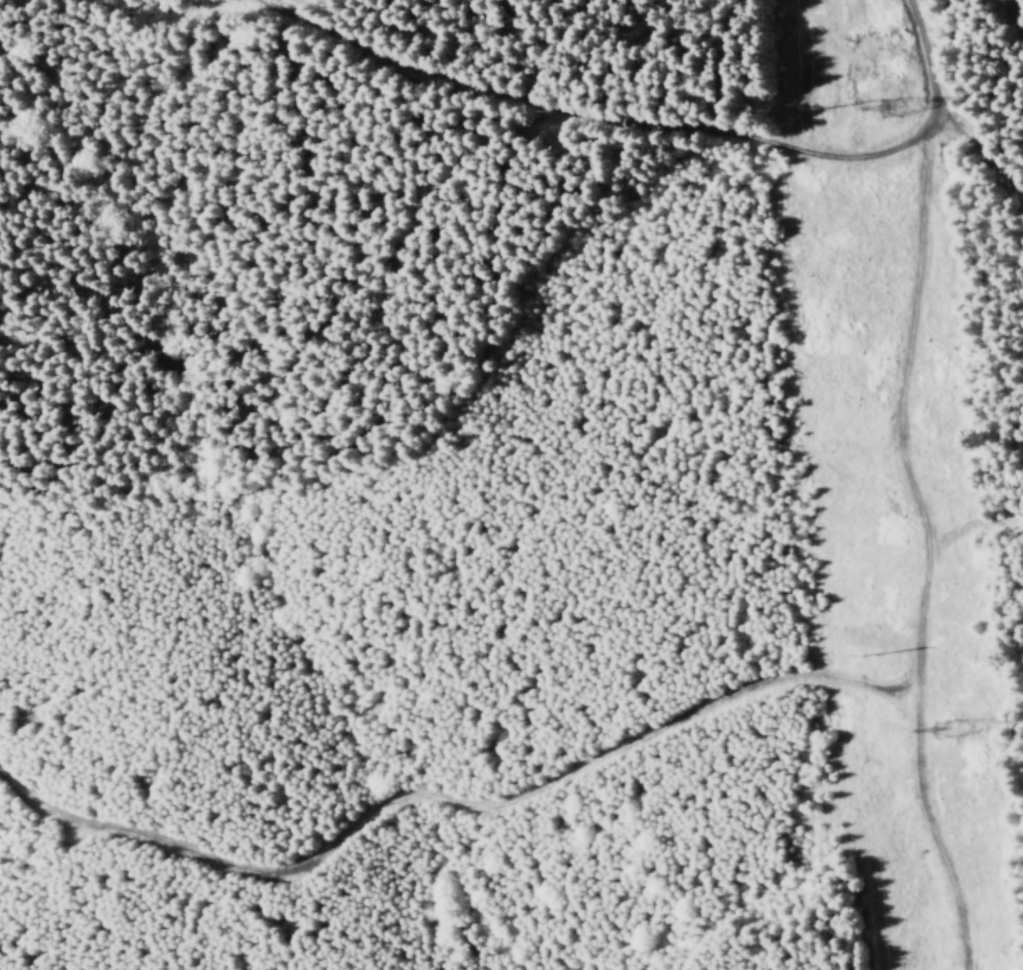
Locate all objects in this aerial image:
power tower: (812, 109)
power tower: (884, 109)
power tower: (846, 654)
power tower: (935, 729)

